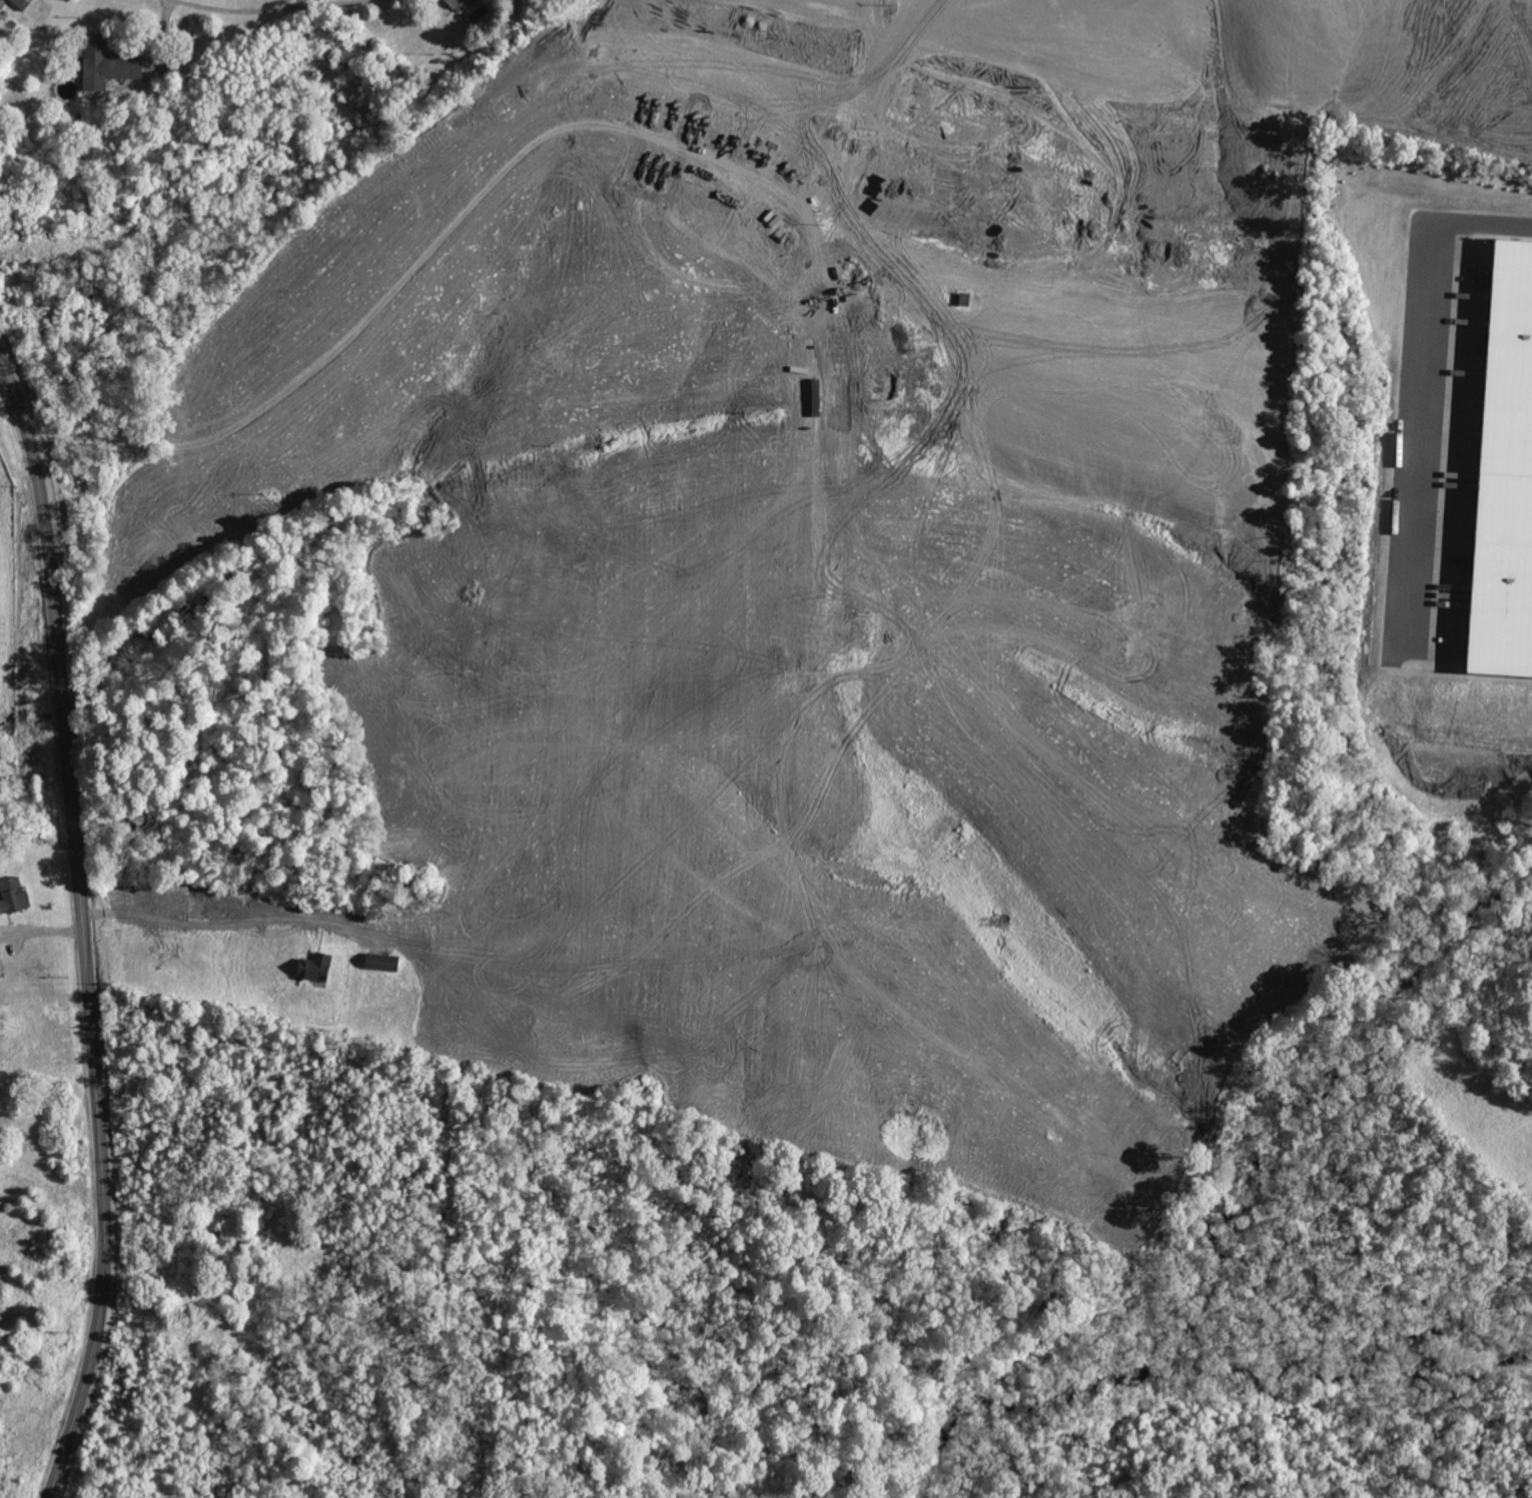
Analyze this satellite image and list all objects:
building: (23, 3)
building: (459, 4)
road: (260, 9)
road: (164, 21)
building: (107, 63)
building: (888, 90)
building: (908, 93)
road: (17, 101)
building: (870, 301)
road: (1425, 376)
building: (882, 379)
building: (1505, 473)
building: (848, 620)
building: (12, 894)
road: (82, 930)
road: (41, 933)
building: (316, 966)

